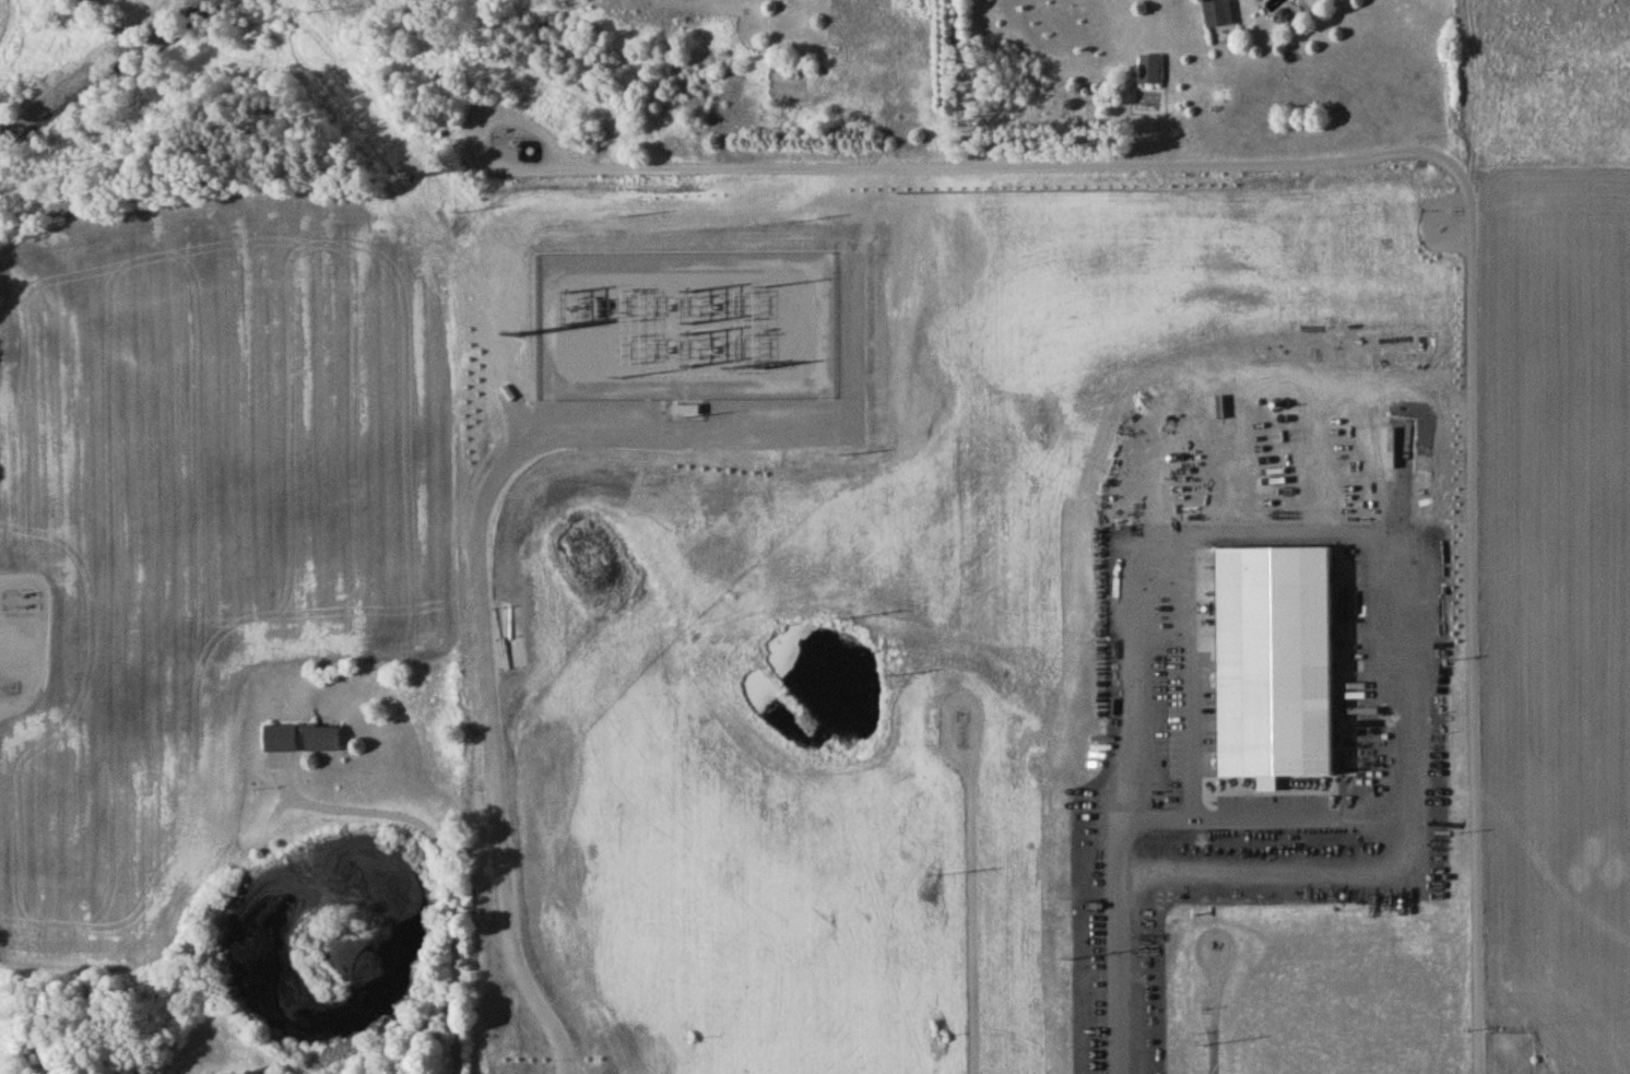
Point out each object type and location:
building: (1219, 15)
building: (1151, 71)
road: (1427, 156)
power tower: (407, 178)
power substation: (685, 330)
power tower: (518, 333)
building: (684, 412)
road: (518, 429)
road: (483, 515)
building: (282, 741)
building: (322, 741)
road: (1118, 846)
road: (448, 864)
road: (972, 910)

